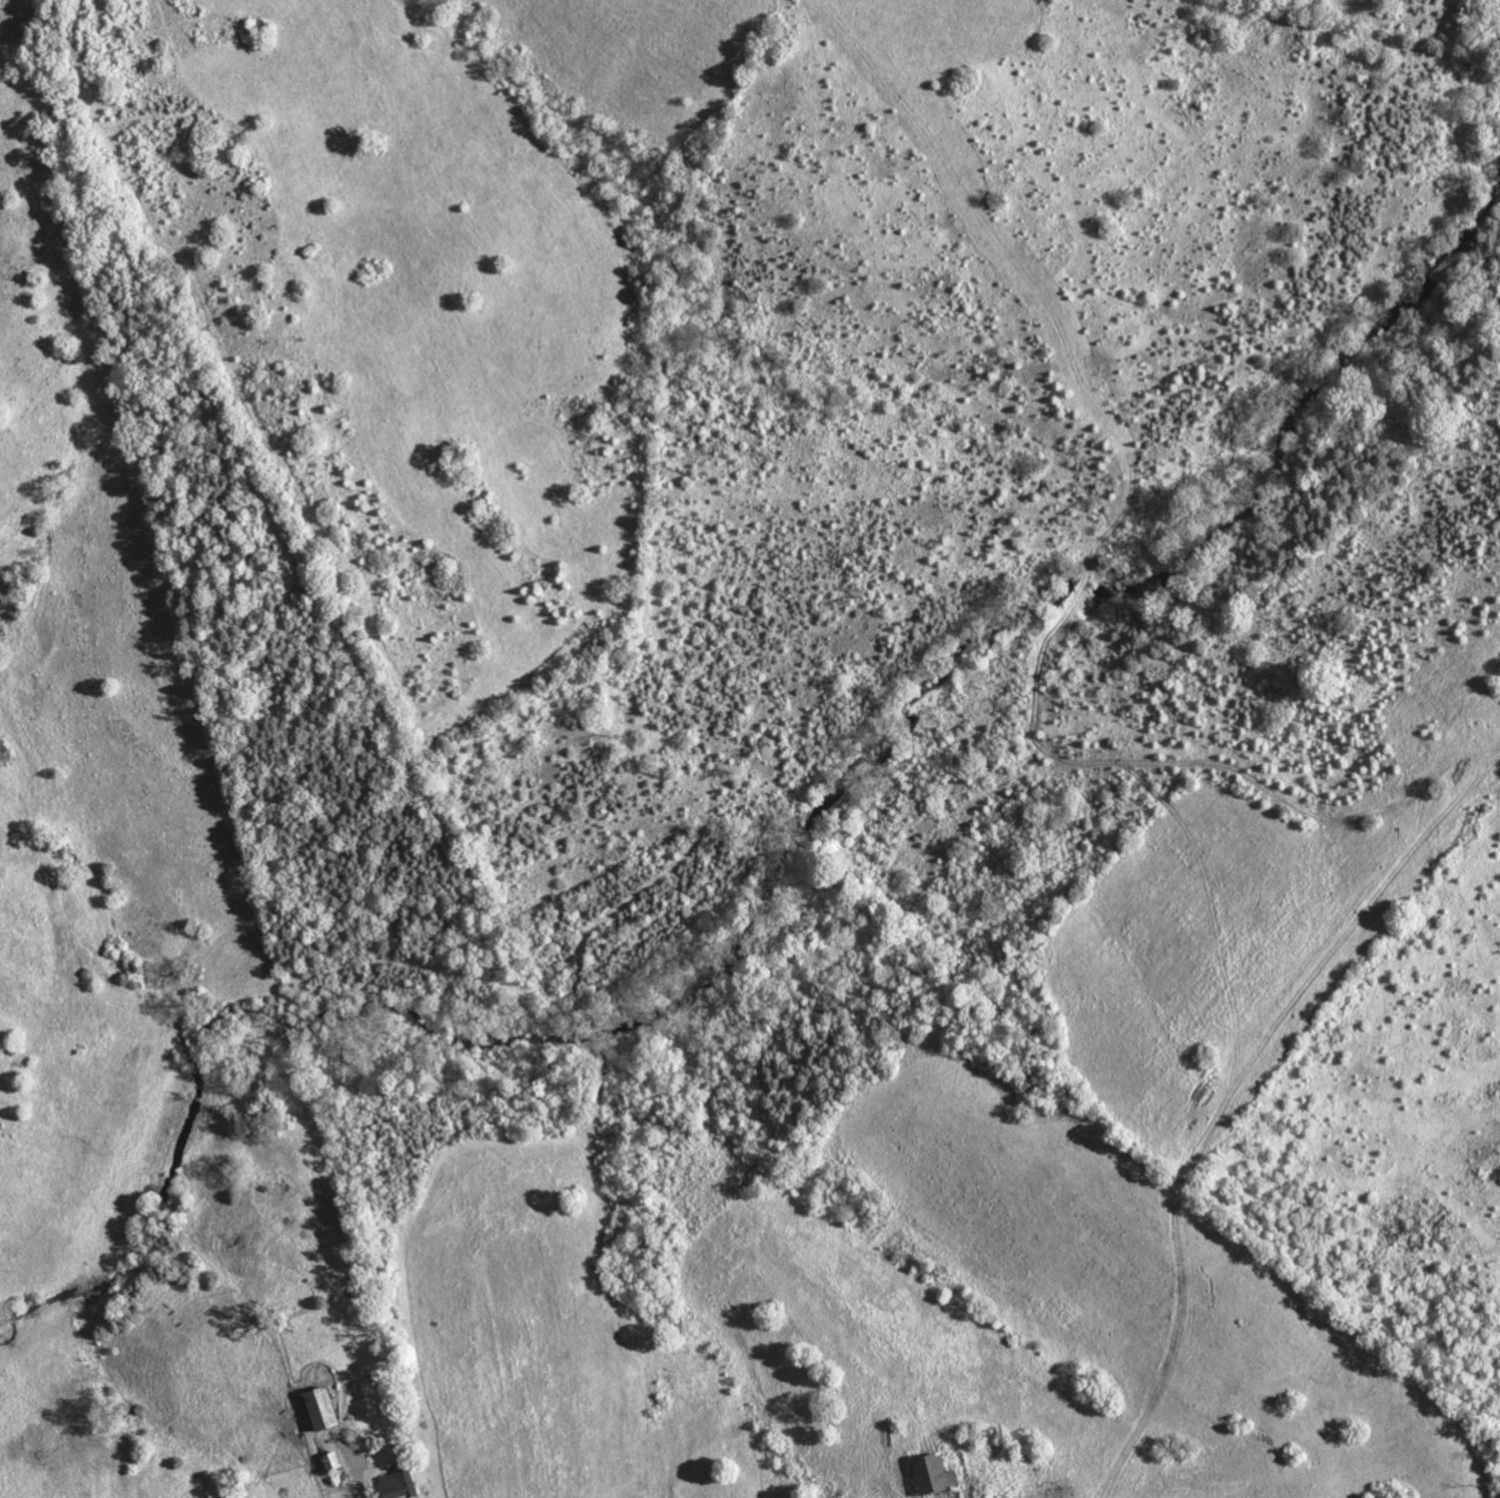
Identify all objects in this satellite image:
building: (320, 1408)
building: (330, 1461)
building: (930, 1473)
building: (397, 1485)

